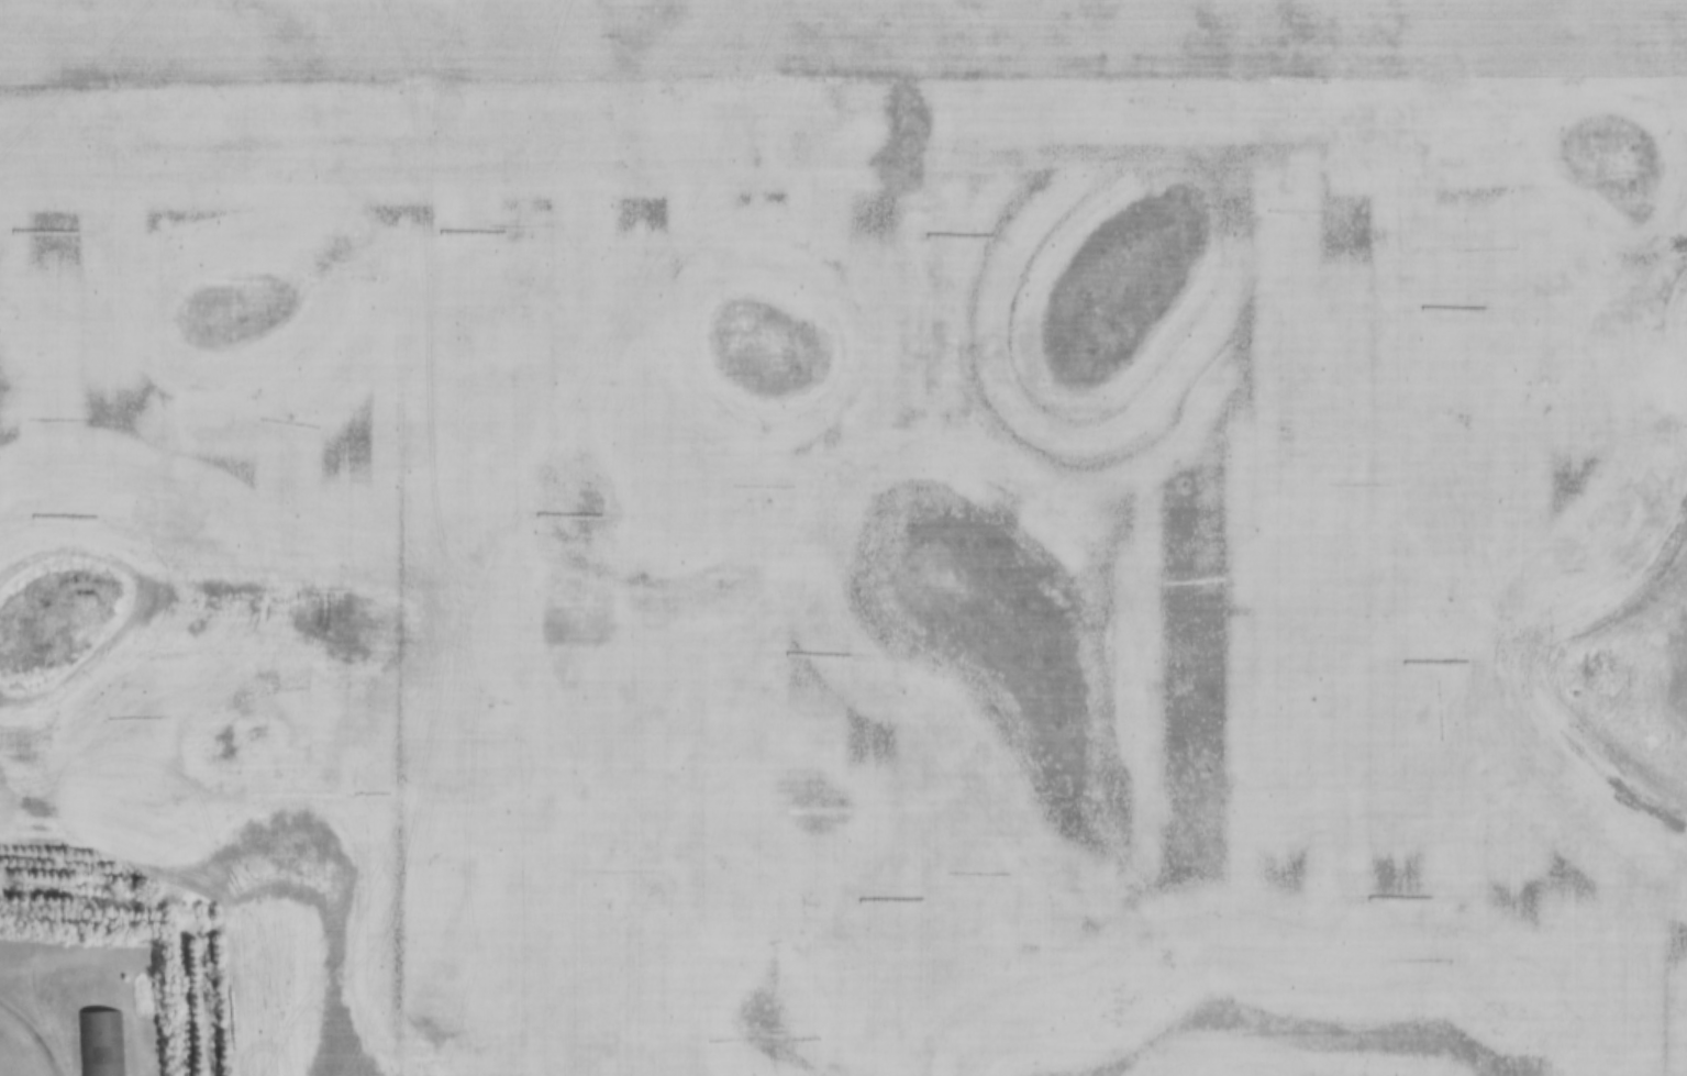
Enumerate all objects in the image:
road: (41, 1028)
building: (102, 1044)

